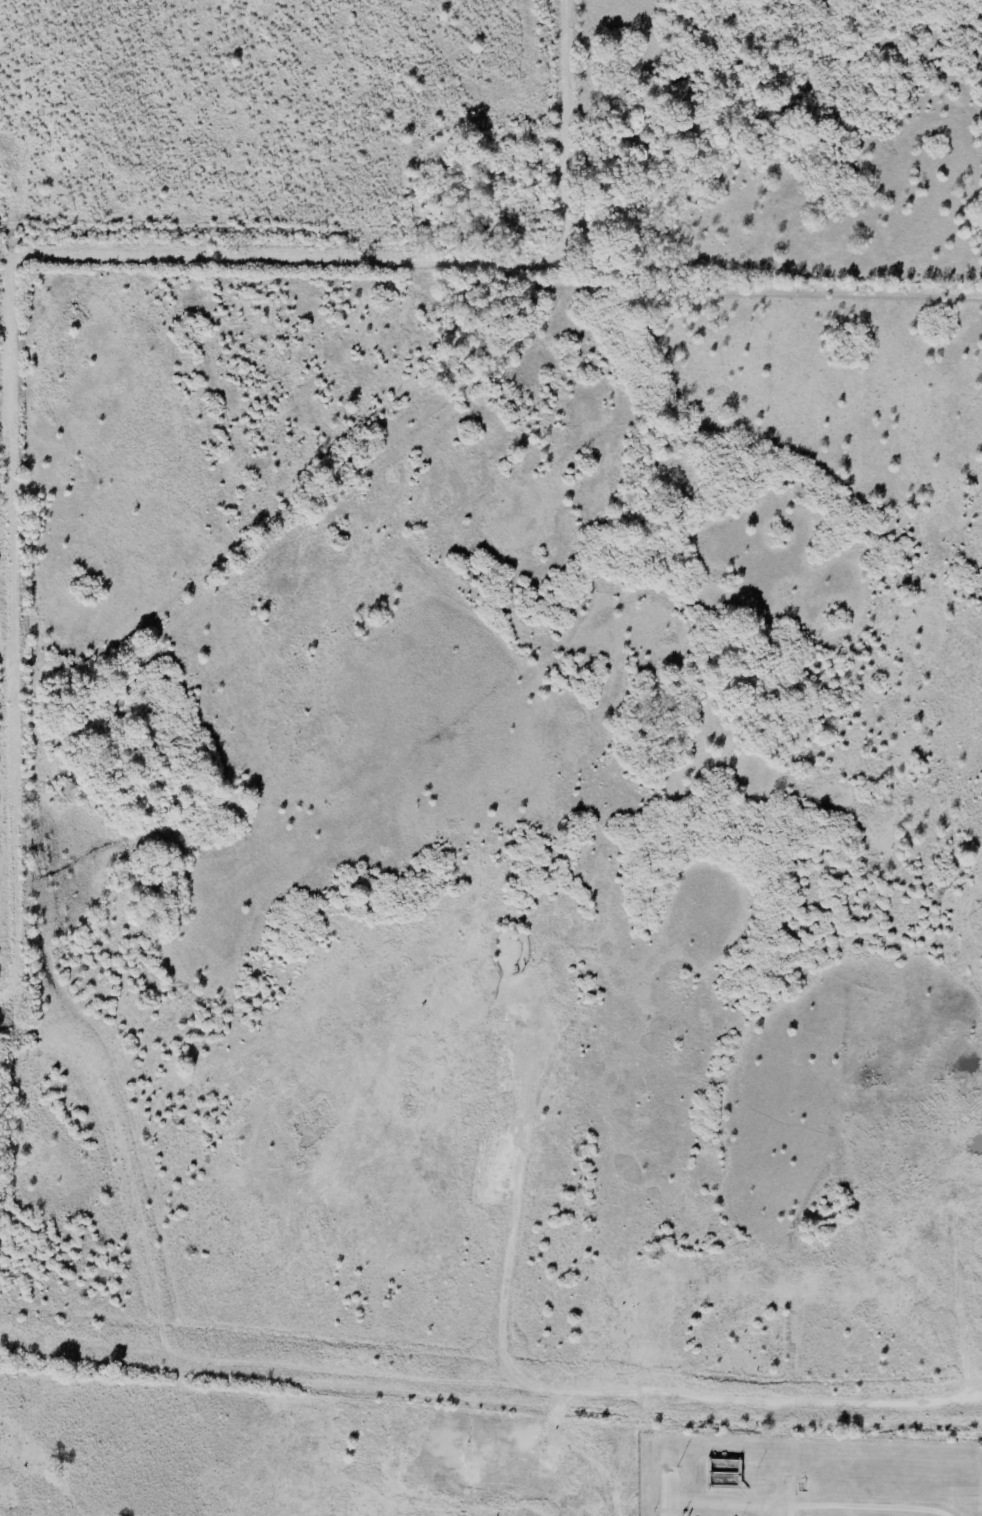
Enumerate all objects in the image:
road: (763, 1398)
road: (726, 1502)
road: (859, 1505)
road: (666, 1515)

